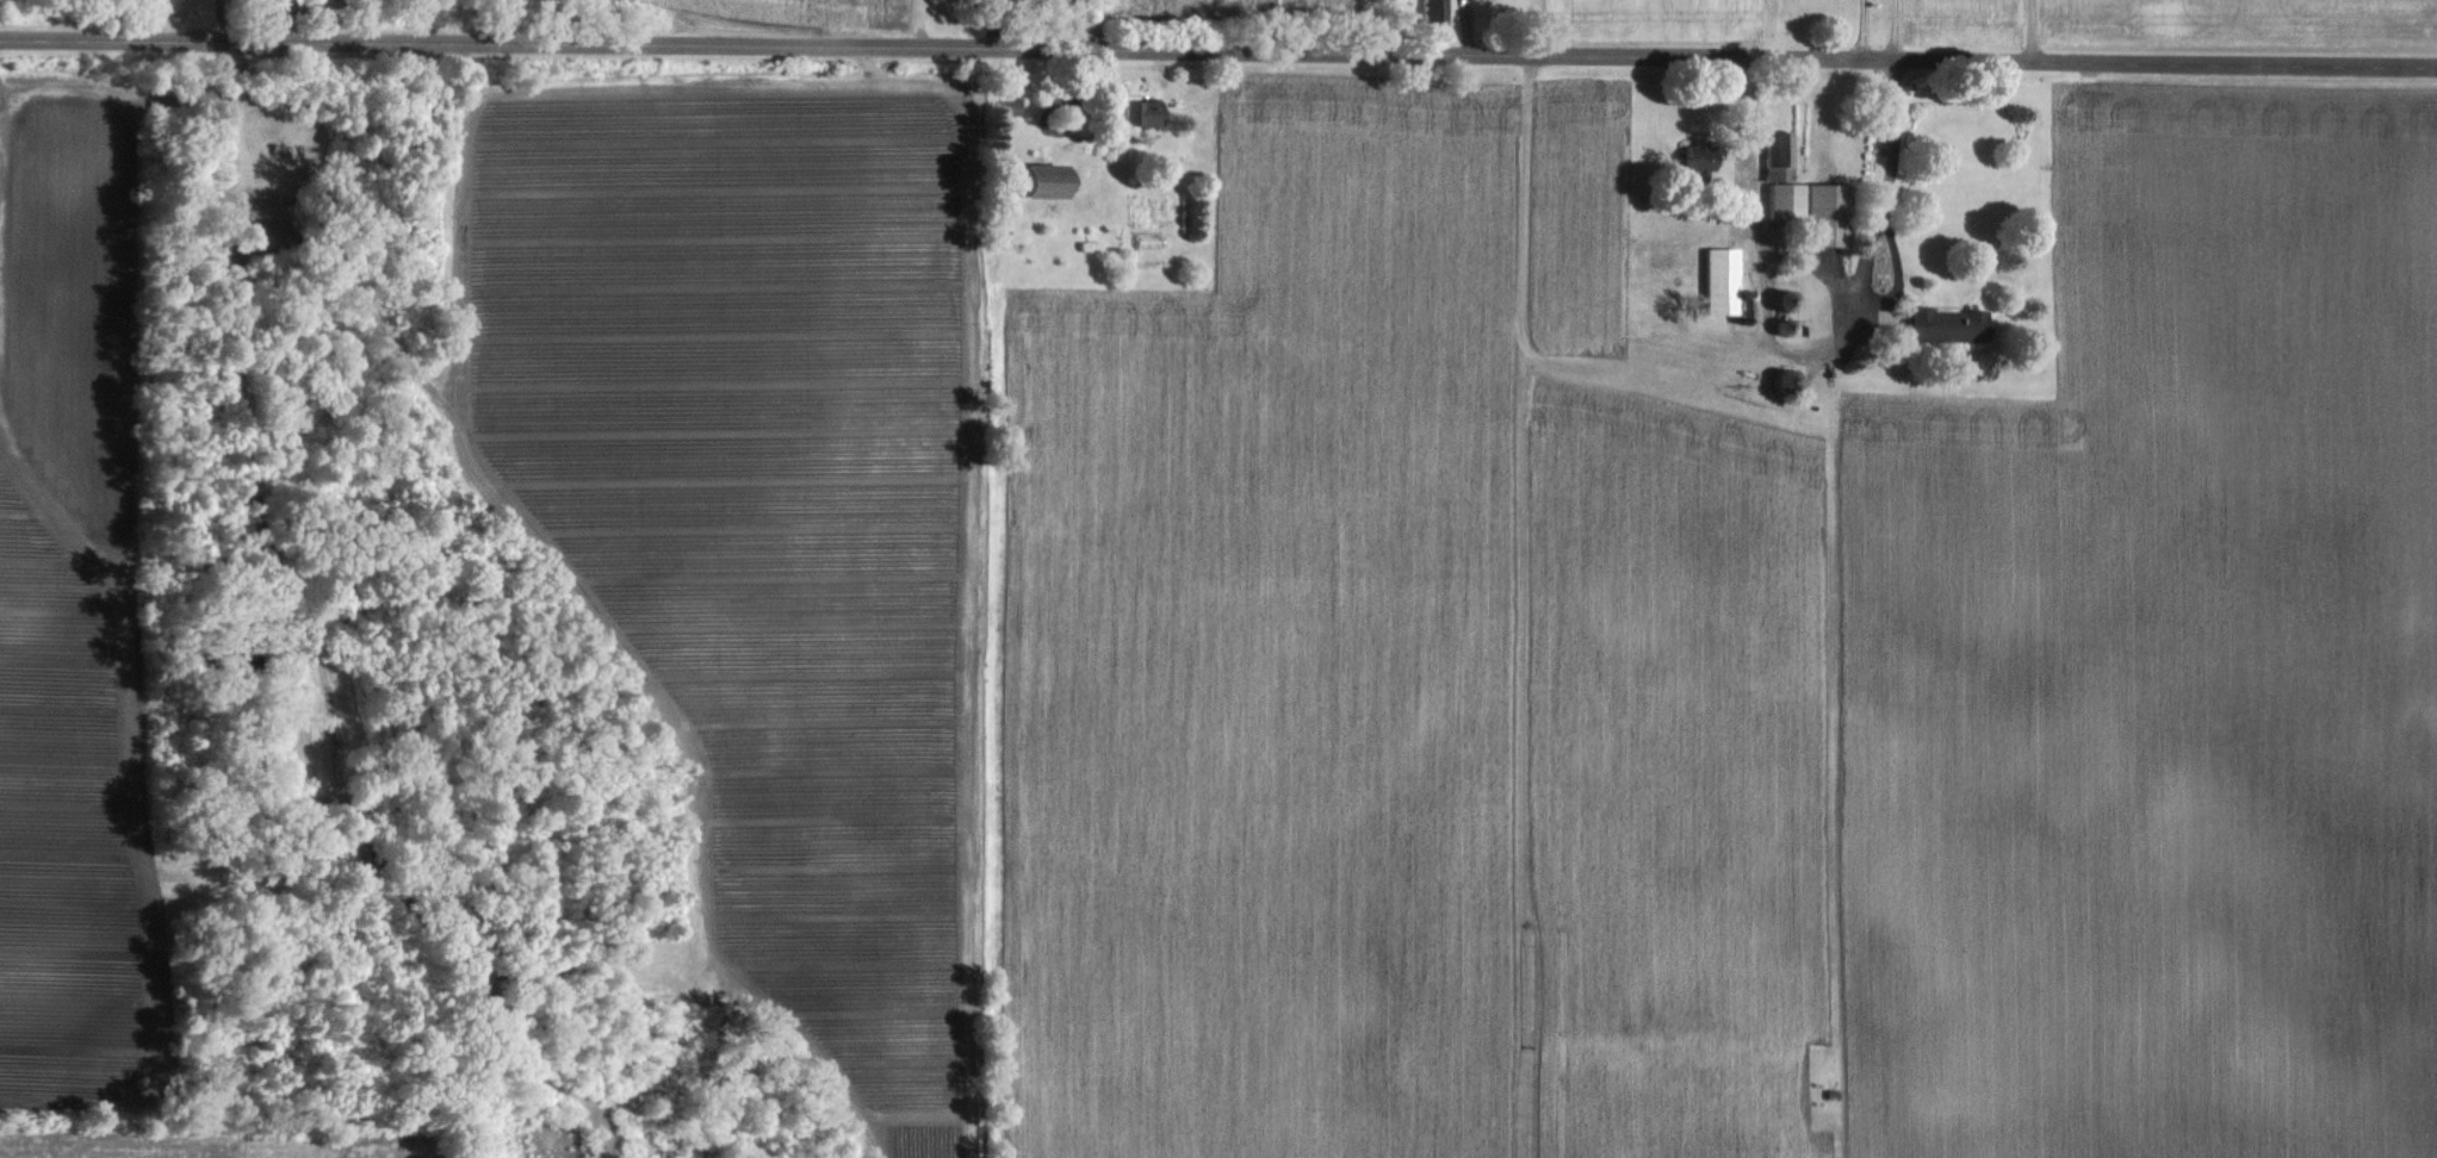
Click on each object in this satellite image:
building: (1428, 10)
road: (217, 17)
road: (286, 17)
road: (1859, 27)
road: (1890, 27)
road: (2029, 29)
road: (1218, 46)
building: (1134, 111)
building: (1692, 160)
building: (1036, 179)
building: (1779, 183)
building: (1821, 216)
road: (1822, 273)
building: (1717, 280)
building: (1942, 324)
road: (1780, 350)
road: (343, 587)

